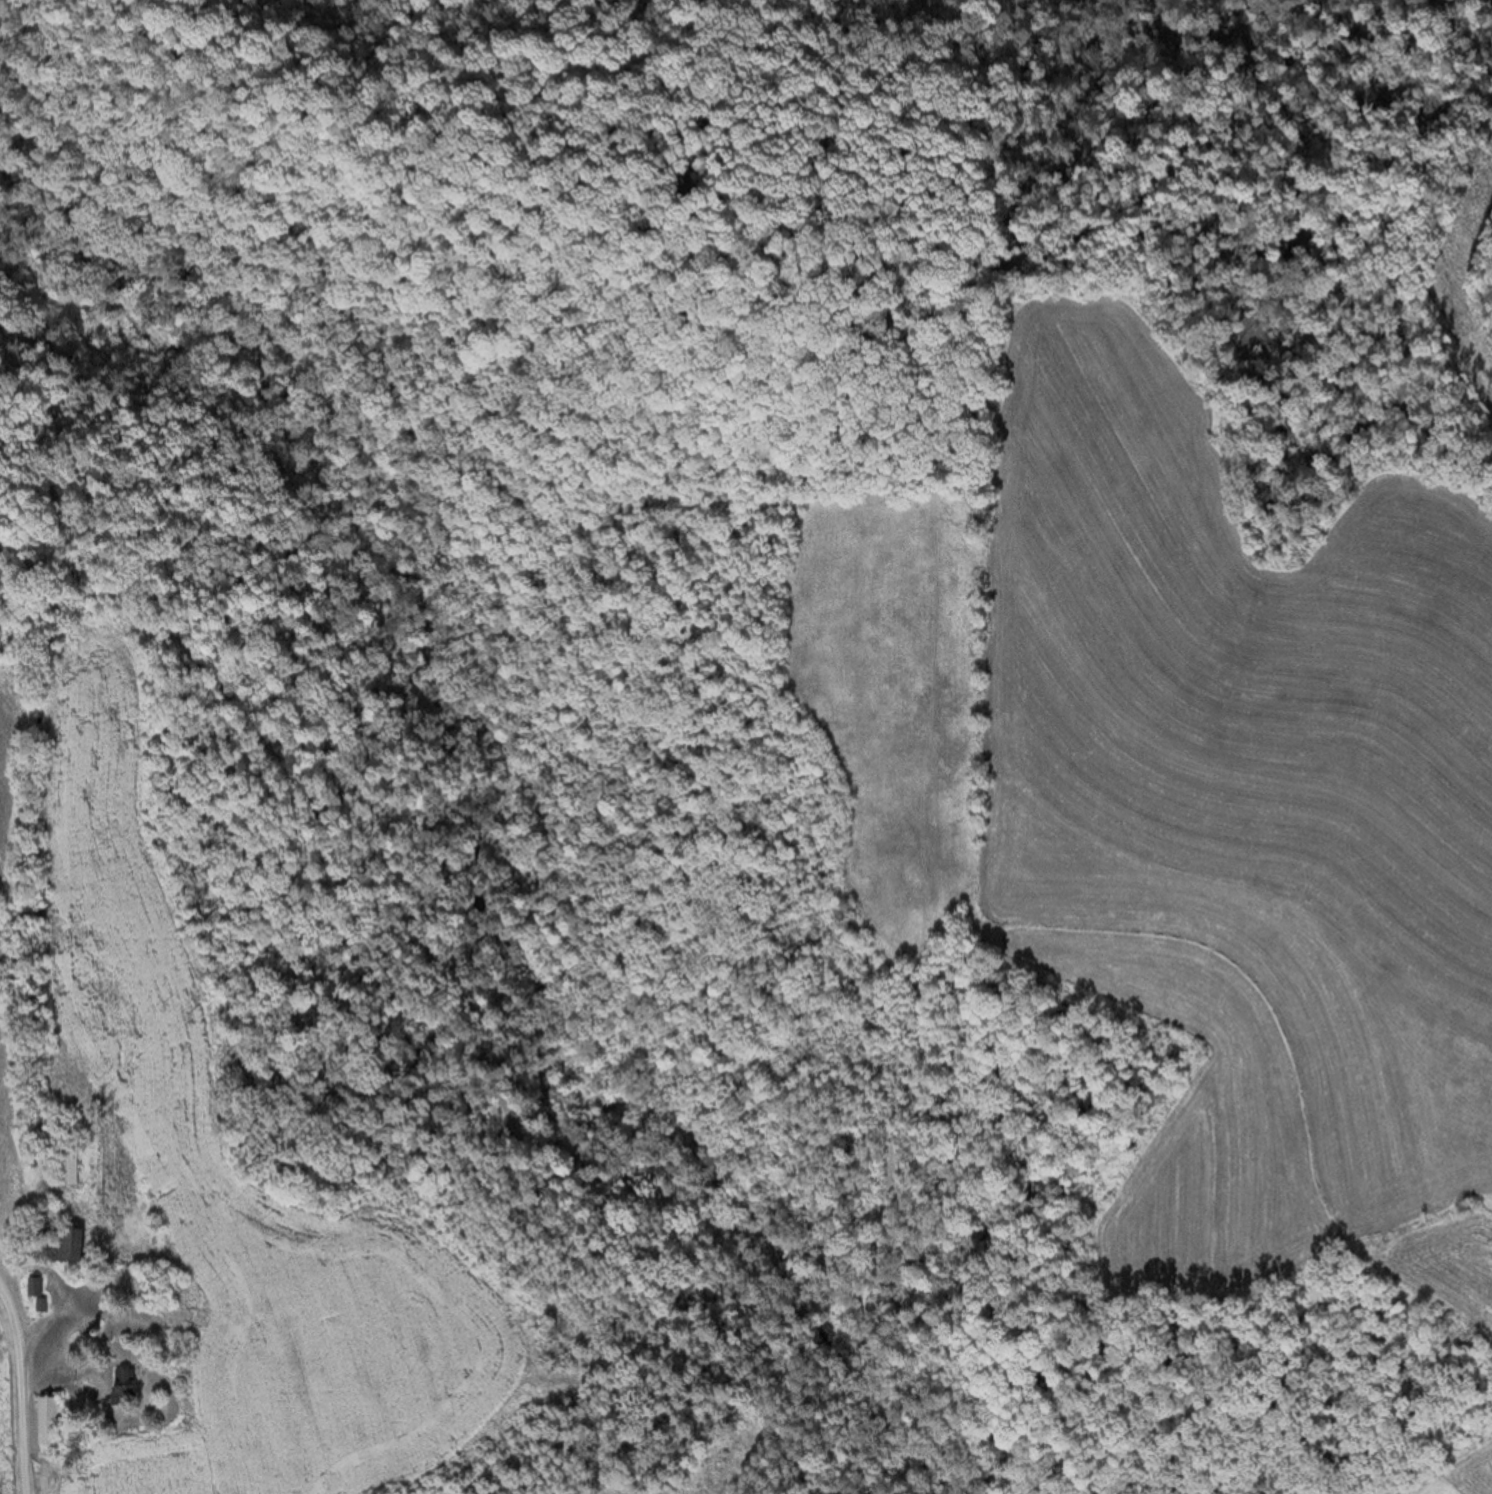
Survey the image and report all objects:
building: (69, 1157)
building: (70, 1244)
building: (41, 1293)
road: (18, 1385)
building: (127, 1388)
building: (51, 1422)

